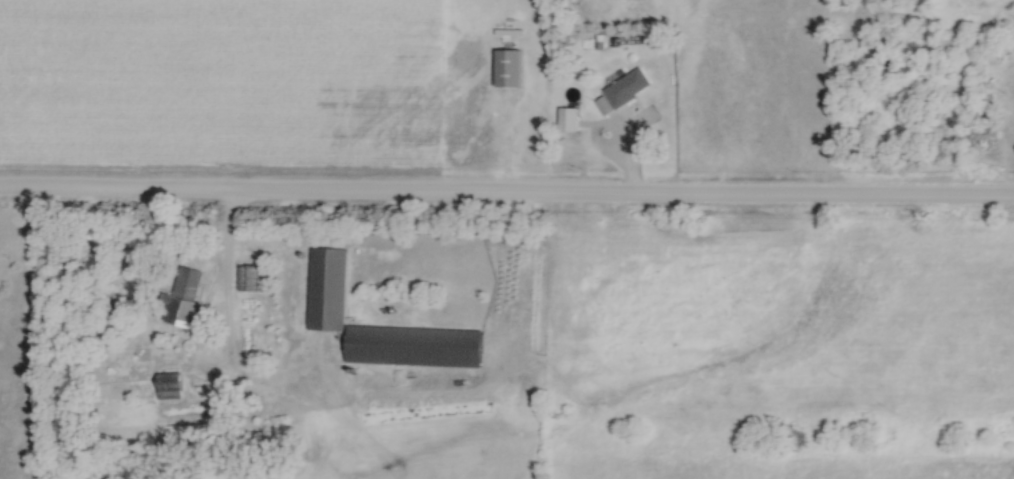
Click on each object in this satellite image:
building: (506, 68)
building: (626, 88)
road: (507, 198)
building: (247, 279)
building: (325, 289)
building: (186, 299)
building: (413, 347)
building: (167, 386)

